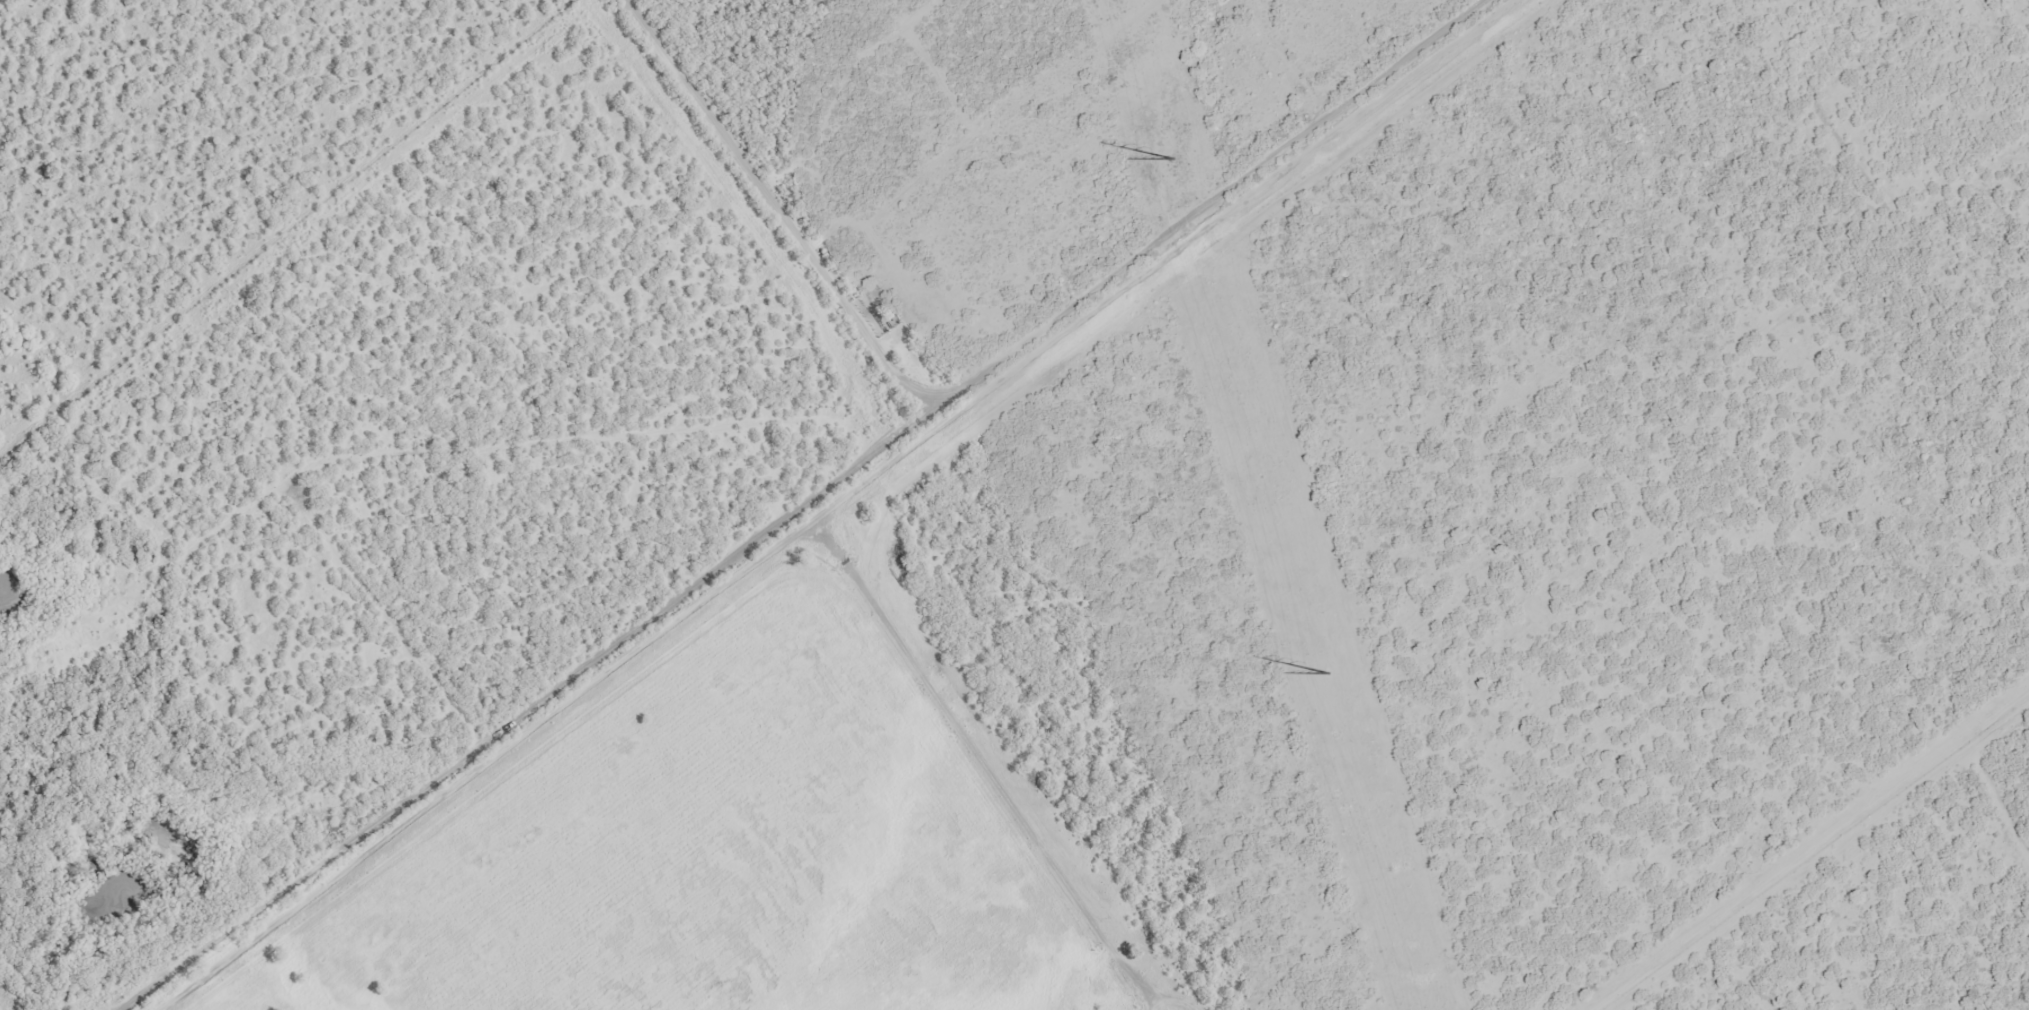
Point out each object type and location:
power tower: (1173, 160)
road: (825, 503)
power tower: (1327, 673)

